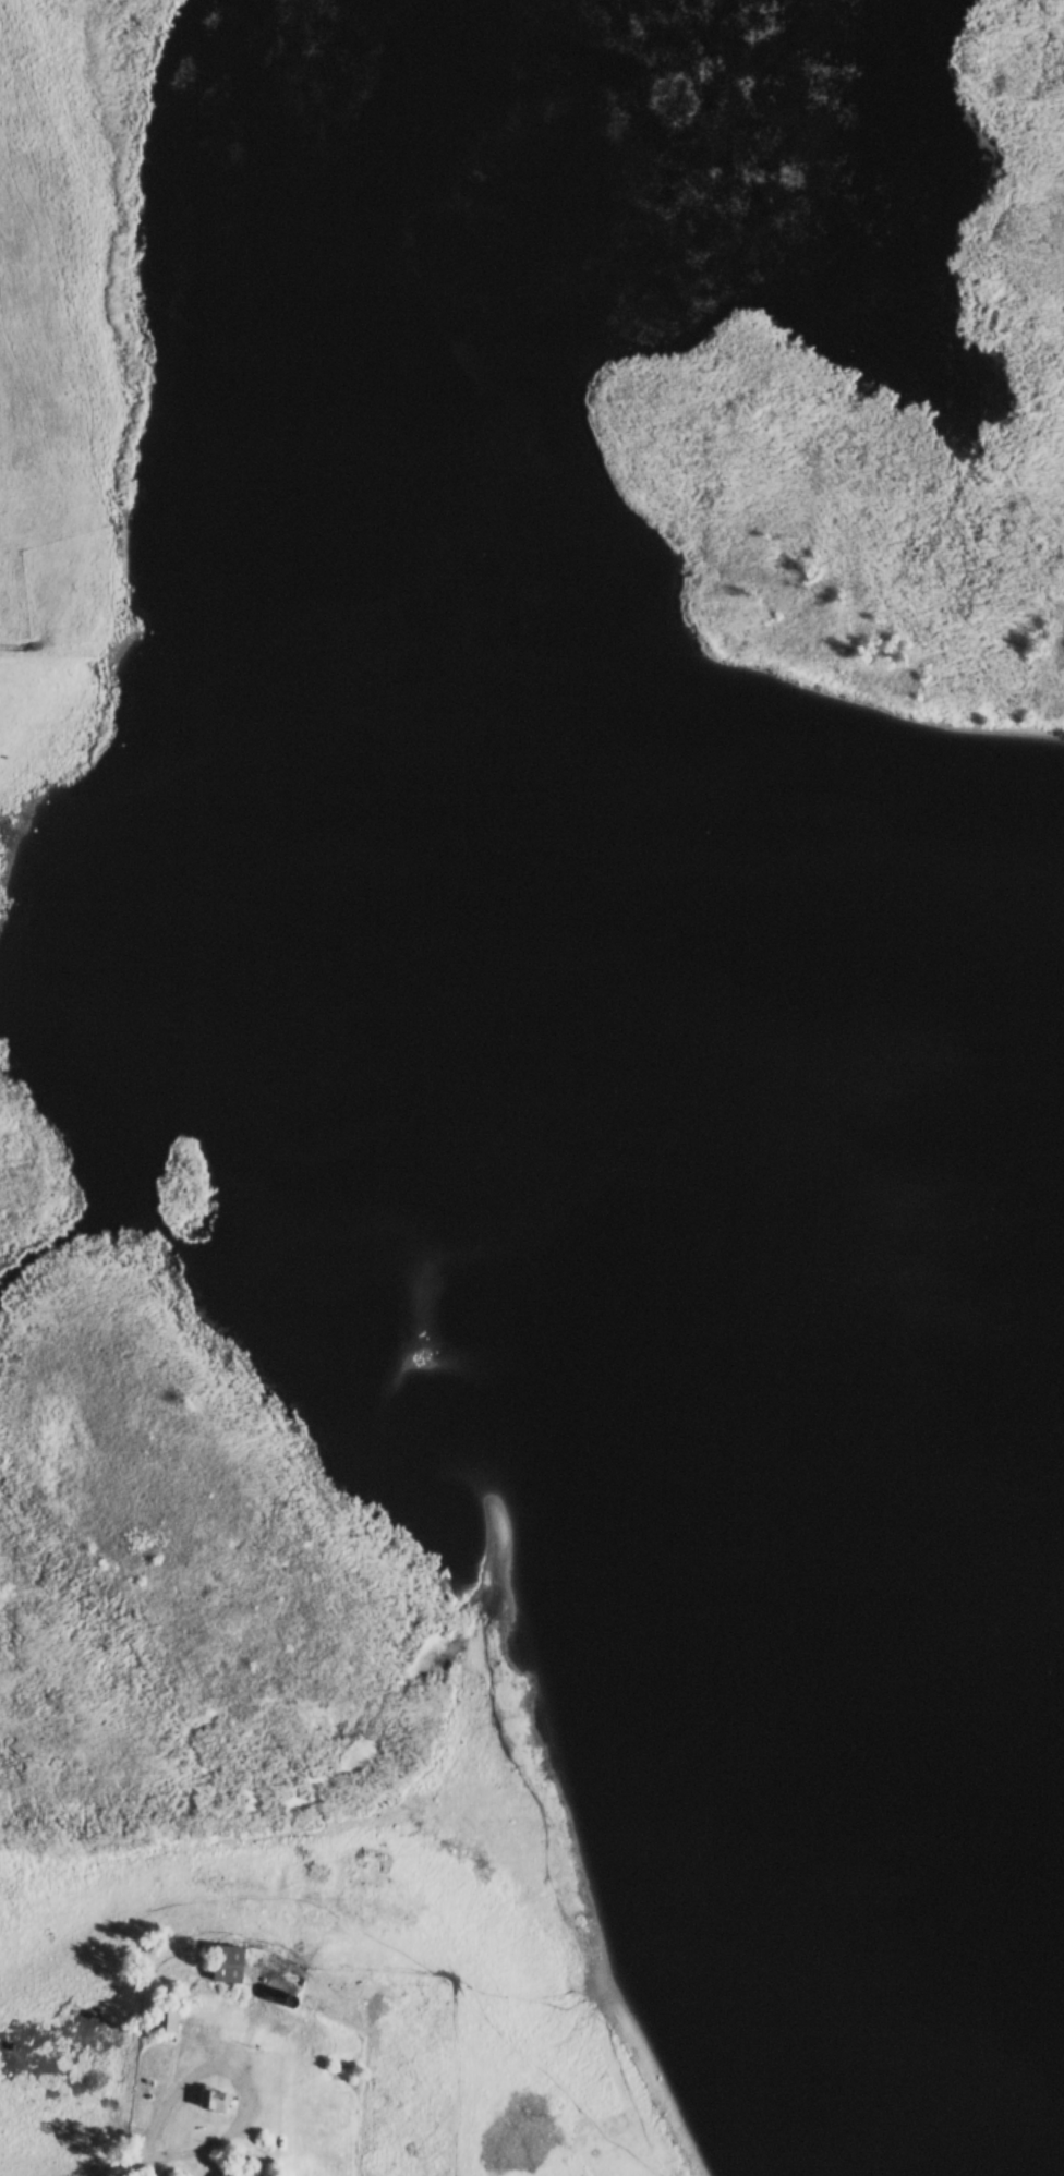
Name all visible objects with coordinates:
building: (226, 1966)
building: (166, 2020)
road: (210, 2067)
building: (215, 2102)
road: (134, 2166)

